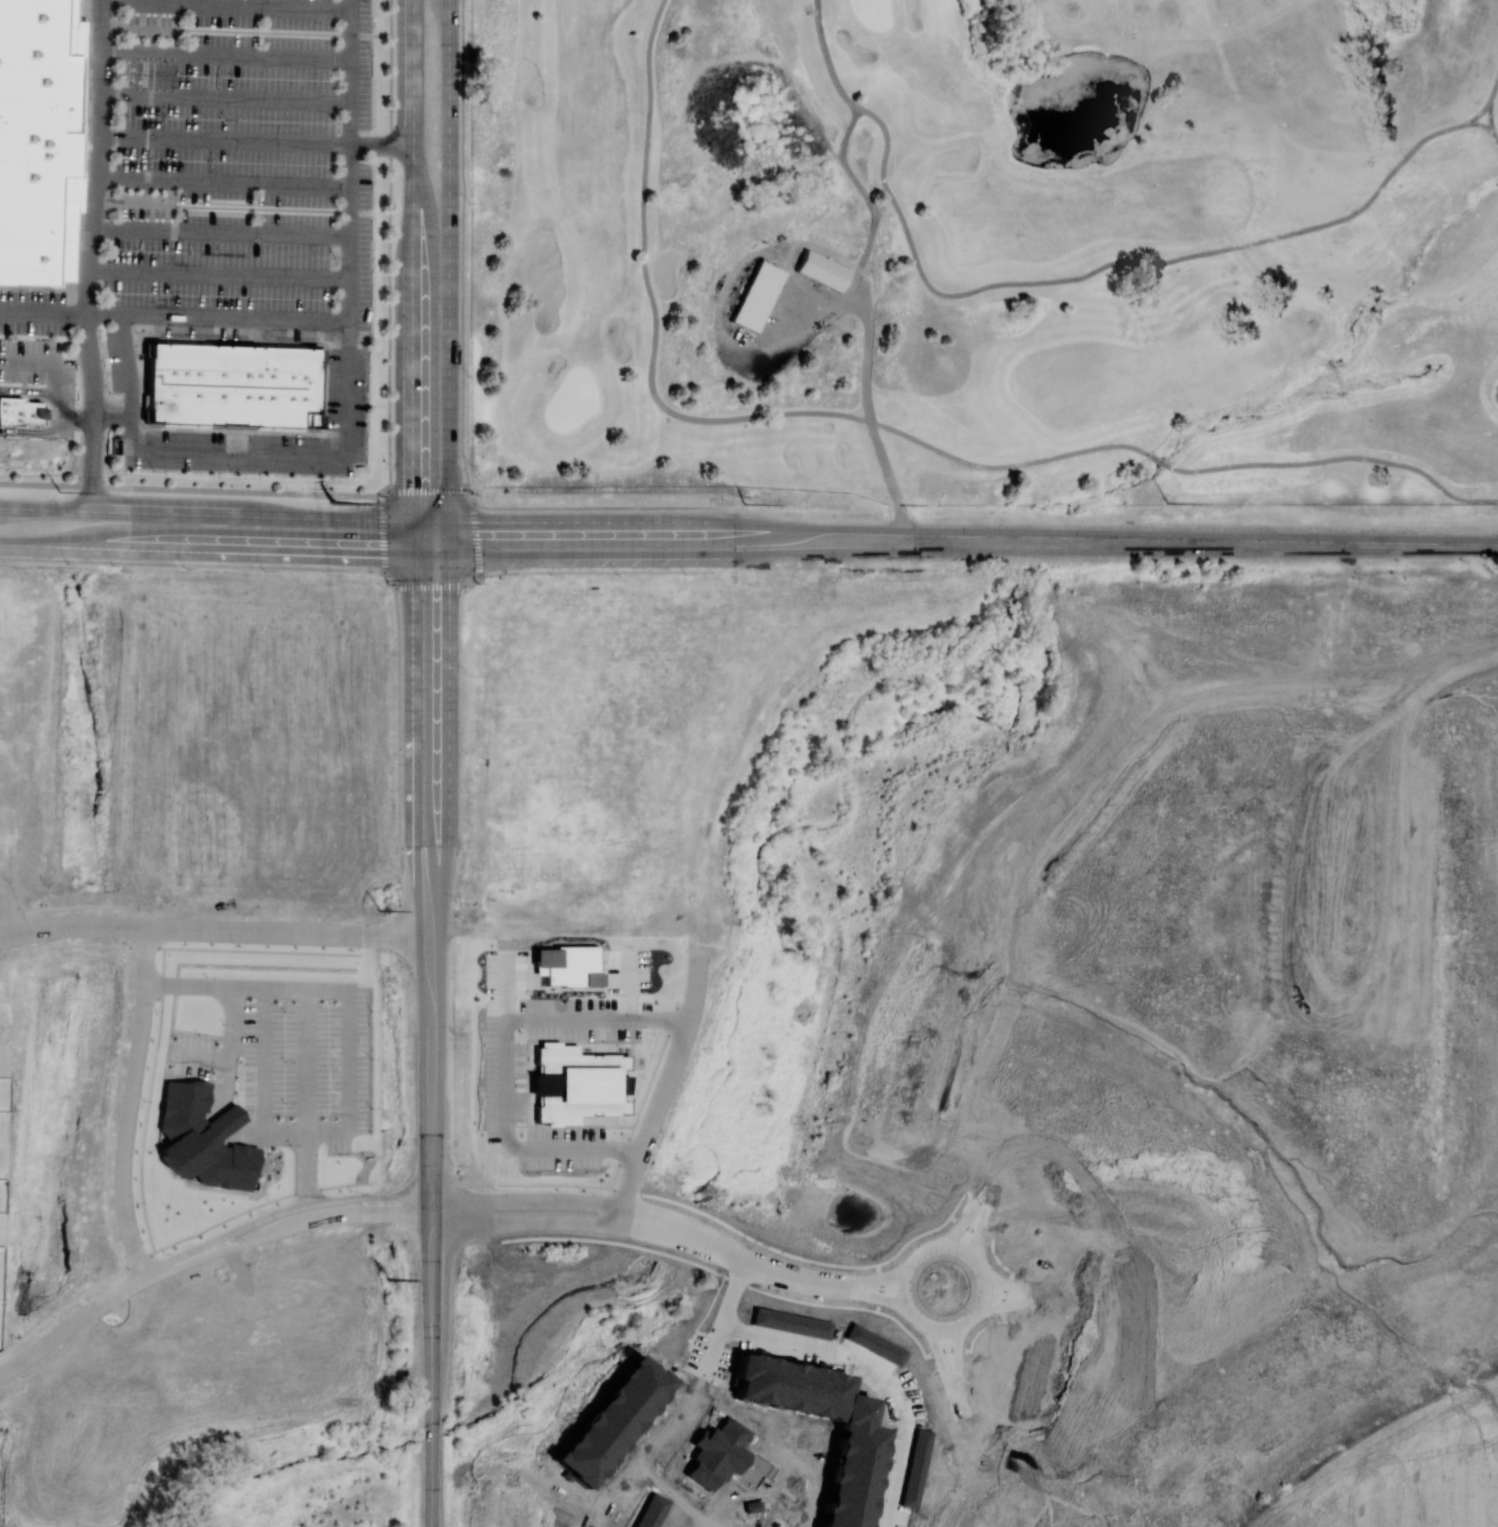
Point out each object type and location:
road: (227, 4)
park: (986, 16)
road: (247, 30)
road: (228, 55)
road: (105, 68)
road: (392, 72)
road: (228, 97)
building: (39, 138)
road: (259, 141)
parking lot: (244, 171)
road: (224, 183)
road: (223, 206)
road: (95, 226)
road: (222, 231)
building: (191, 242)
road: (462, 243)
building: (243, 269)
building: (823, 269)
road: (218, 271)
road: (413, 278)
road: (450, 278)
building: (191, 292)
building: (757, 295)
parking lot: (33, 312)
road: (43, 313)
road: (217, 317)
road: (391, 317)
parking lot: (38, 365)
parking lot: (122, 365)
road: (56, 367)
building: (238, 383)
road: (28, 389)
road: (345, 401)
building: (21, 410)
road: (96, 412)
road: (75, 416)
road: (112, 416)
road: (27, 430)
parking lot: (274, 433)
traffic signals: (415, 480)
road: (194, 489)
road: (428, 489)
power tower: (60, 491)
road: (472, 495)
power tower: (334, 501)
power tower: (1168, 501)
power tower: (746, 503)
road: (602, 506)
road: (206, 514)
road: (432, 521)
traffic signals: (485, 521)
road: (383, 533)
road: (467, 541)
road: (207, 551)
traffic signals: (374, 556)
road: (433, 557)
road: (192, 563)
road: (598, 573)
road: (389, 580)
road: (475, 582)
road: (430, 585)
traffic signals: (450, 594)
road: (450, 624)
road: (399, 714)
road: (416, 746)
road: (443, 837)
power tower: (380, 909)
road: (74, 924)
road: (137, 926)
road: (293, 932)
road: (11, 935)
building: (567, 964)
road: (698, 973)
road: (307, 1017)
road: (420, 1026)
road: (442, 1053)
road: (505, 1056)
building: (568, 1082)
building: (622, 1083)
road: (659, 1098)
road: (128, 1103)
building: (203, 1137)
road: (415, 1197)
road: (372, 1198)
road: (444, 1200)
road: (559, 1202)
road: (439, 1203)
road: (279, 1212)
road: (634, 1212)
road: (617, 1213)
road: (373, 1216)
road: (447, 1218)
road: (574, 1221)
road: (963, 1224)
road: (978, 1230)
road: (281, 1231)
road: (698, 1236)
road: (971, 1256)
road: (179, 1262)
power tower: (388, 1278)
road: (797, 1278)
road: (877, 1283)
road: (1007, 1285)
road: (899, 1292)
road: (880, 1295)
road: (1007, 1296)
road: (103, 1307)
road: (725, 1313)
road: (917, 1323)
road: (947, 1331)
road: (31, 1357)
road: (955, 1362)
road: (944, 1365)
road: (875, 1373)
road: (1, 1377)
road: (410, 1402)
road: (434, 1405)
road: (972, 1417)
road: (1045, 1492)
road: (1053, 1516)

